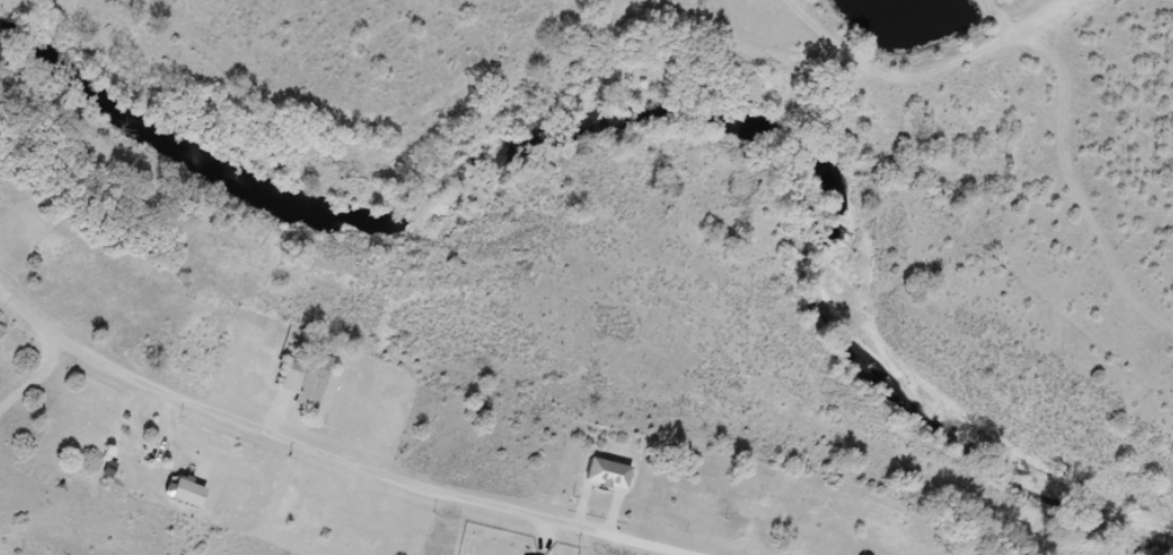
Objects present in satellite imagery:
building: (316, 386)
road: (307, 450)
building: (615, 483)
building: (196, 503)

